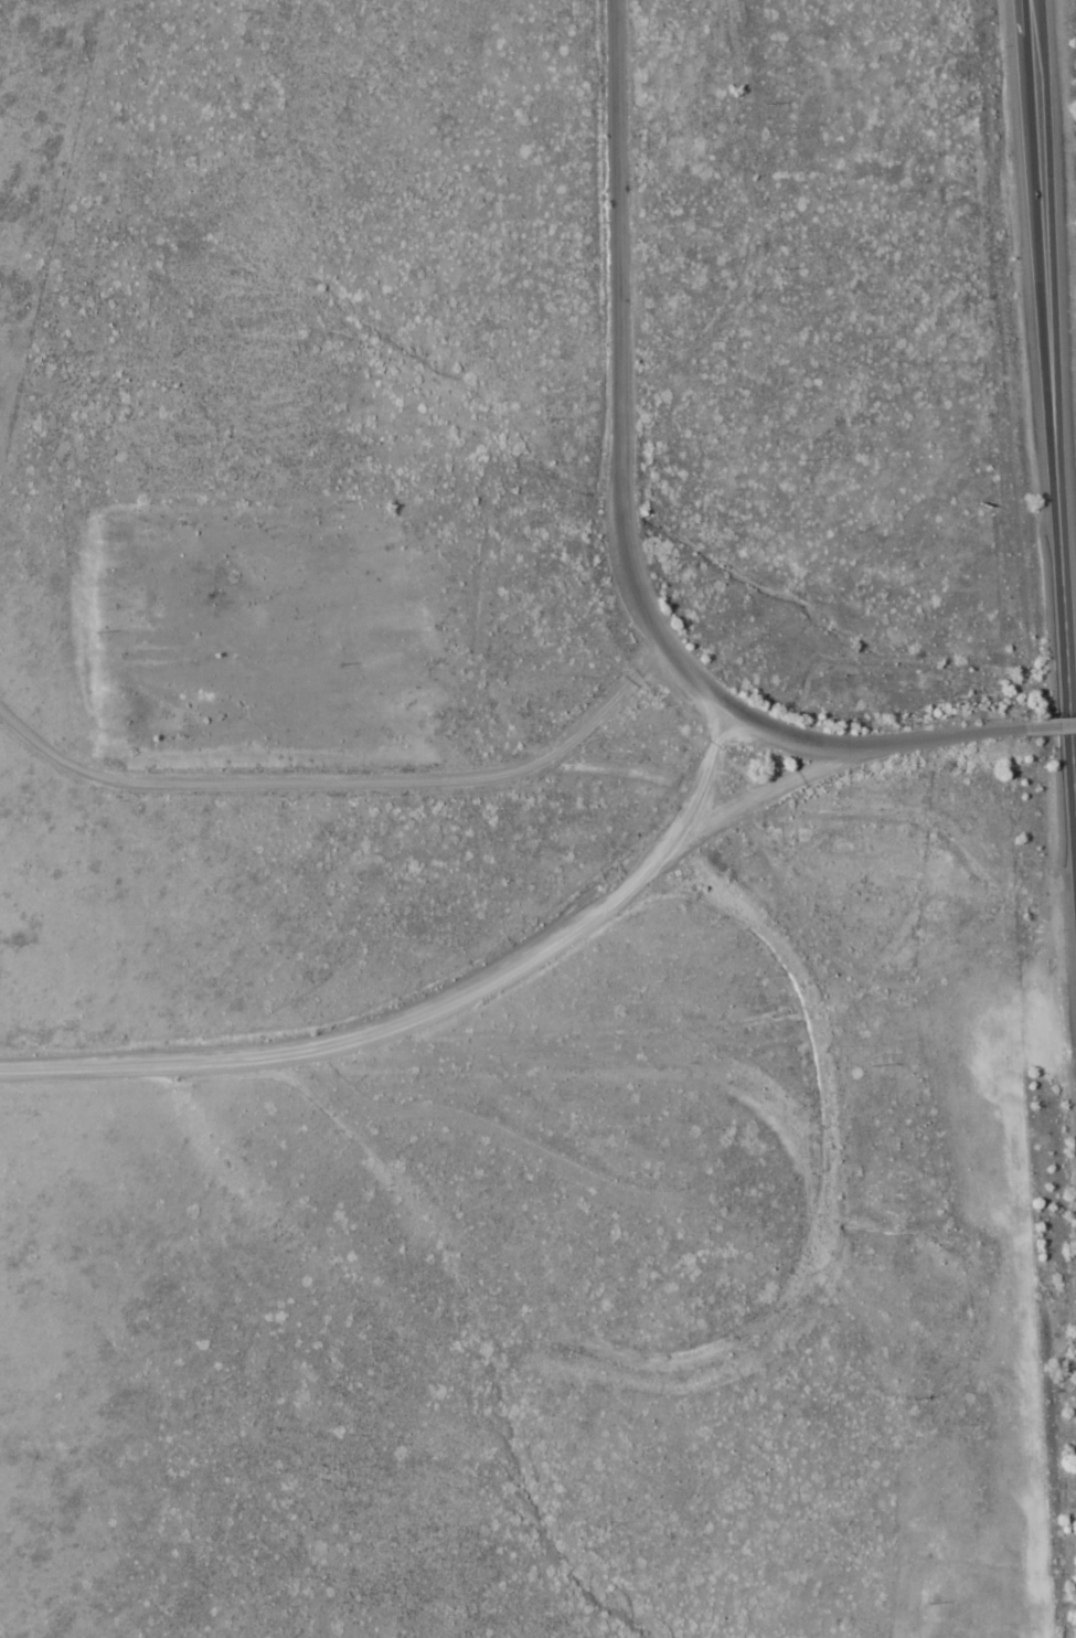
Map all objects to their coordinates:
road: (1053, 404)
road: (630, 519)
road: (1050, 725)

